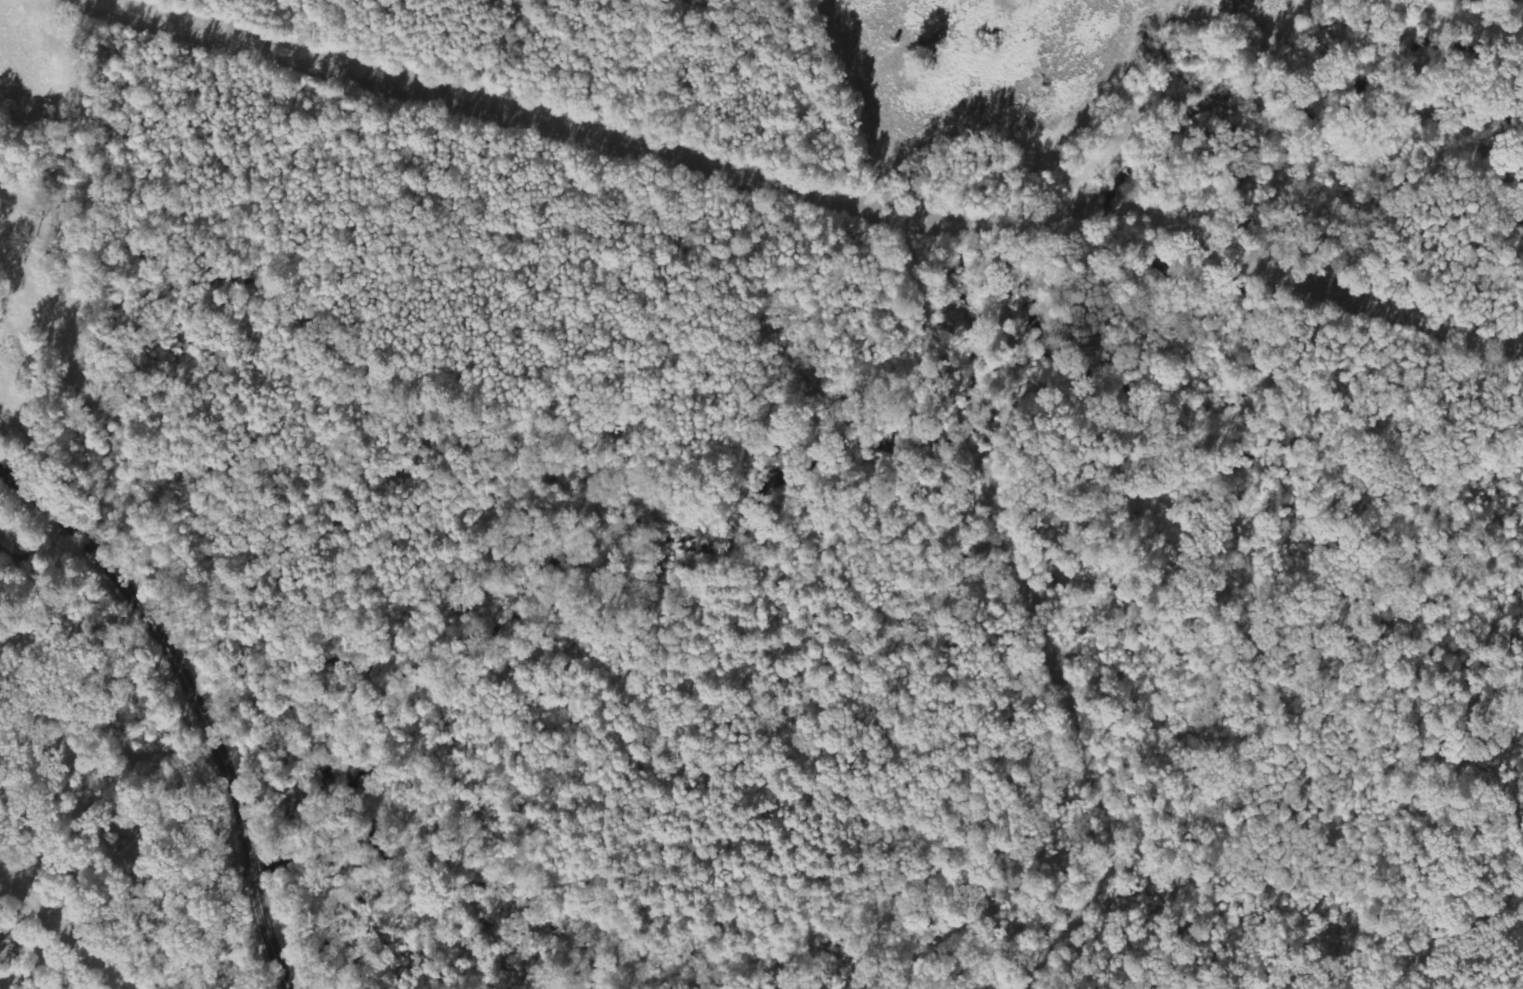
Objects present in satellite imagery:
road: (195, 700)

